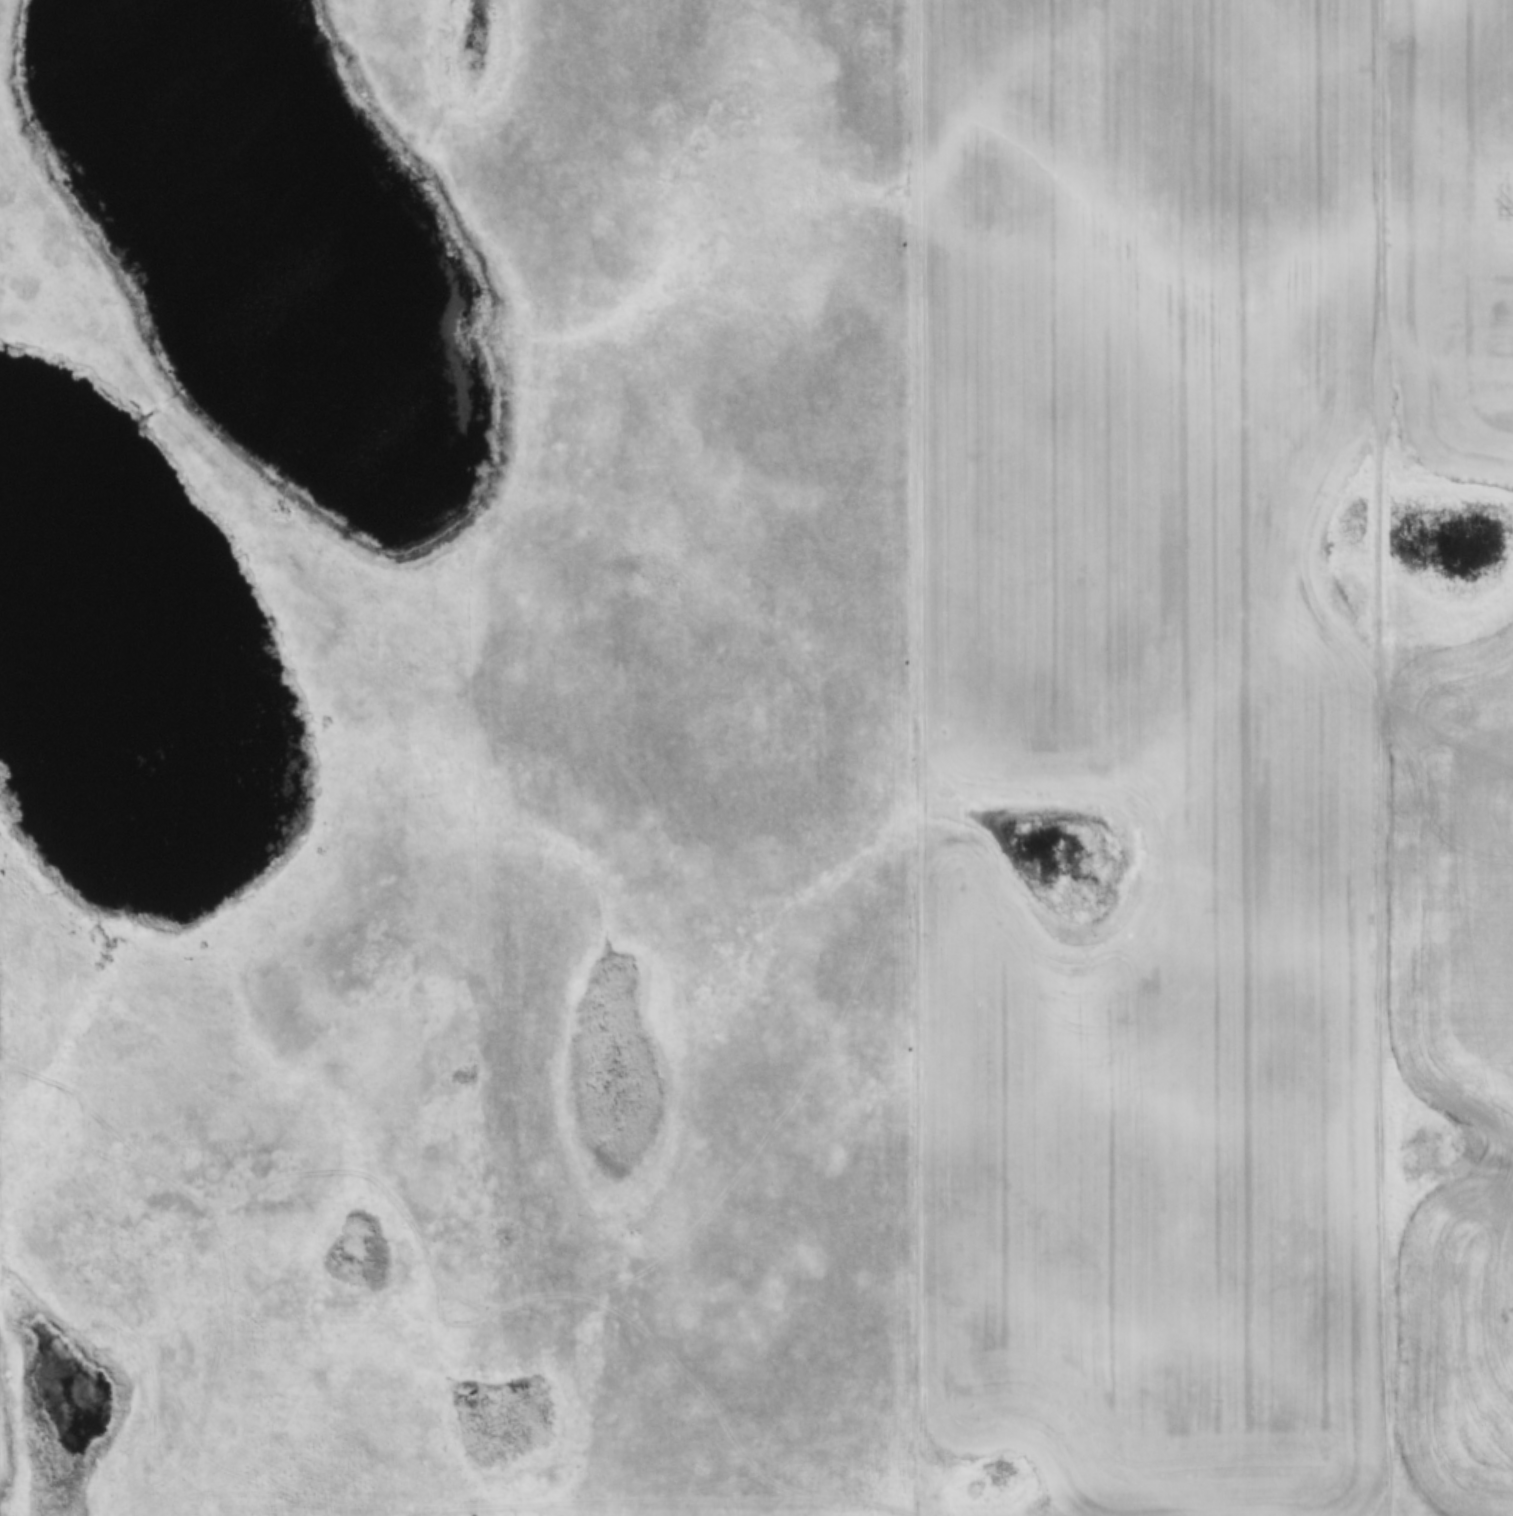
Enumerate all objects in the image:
road: (1378, 758)

